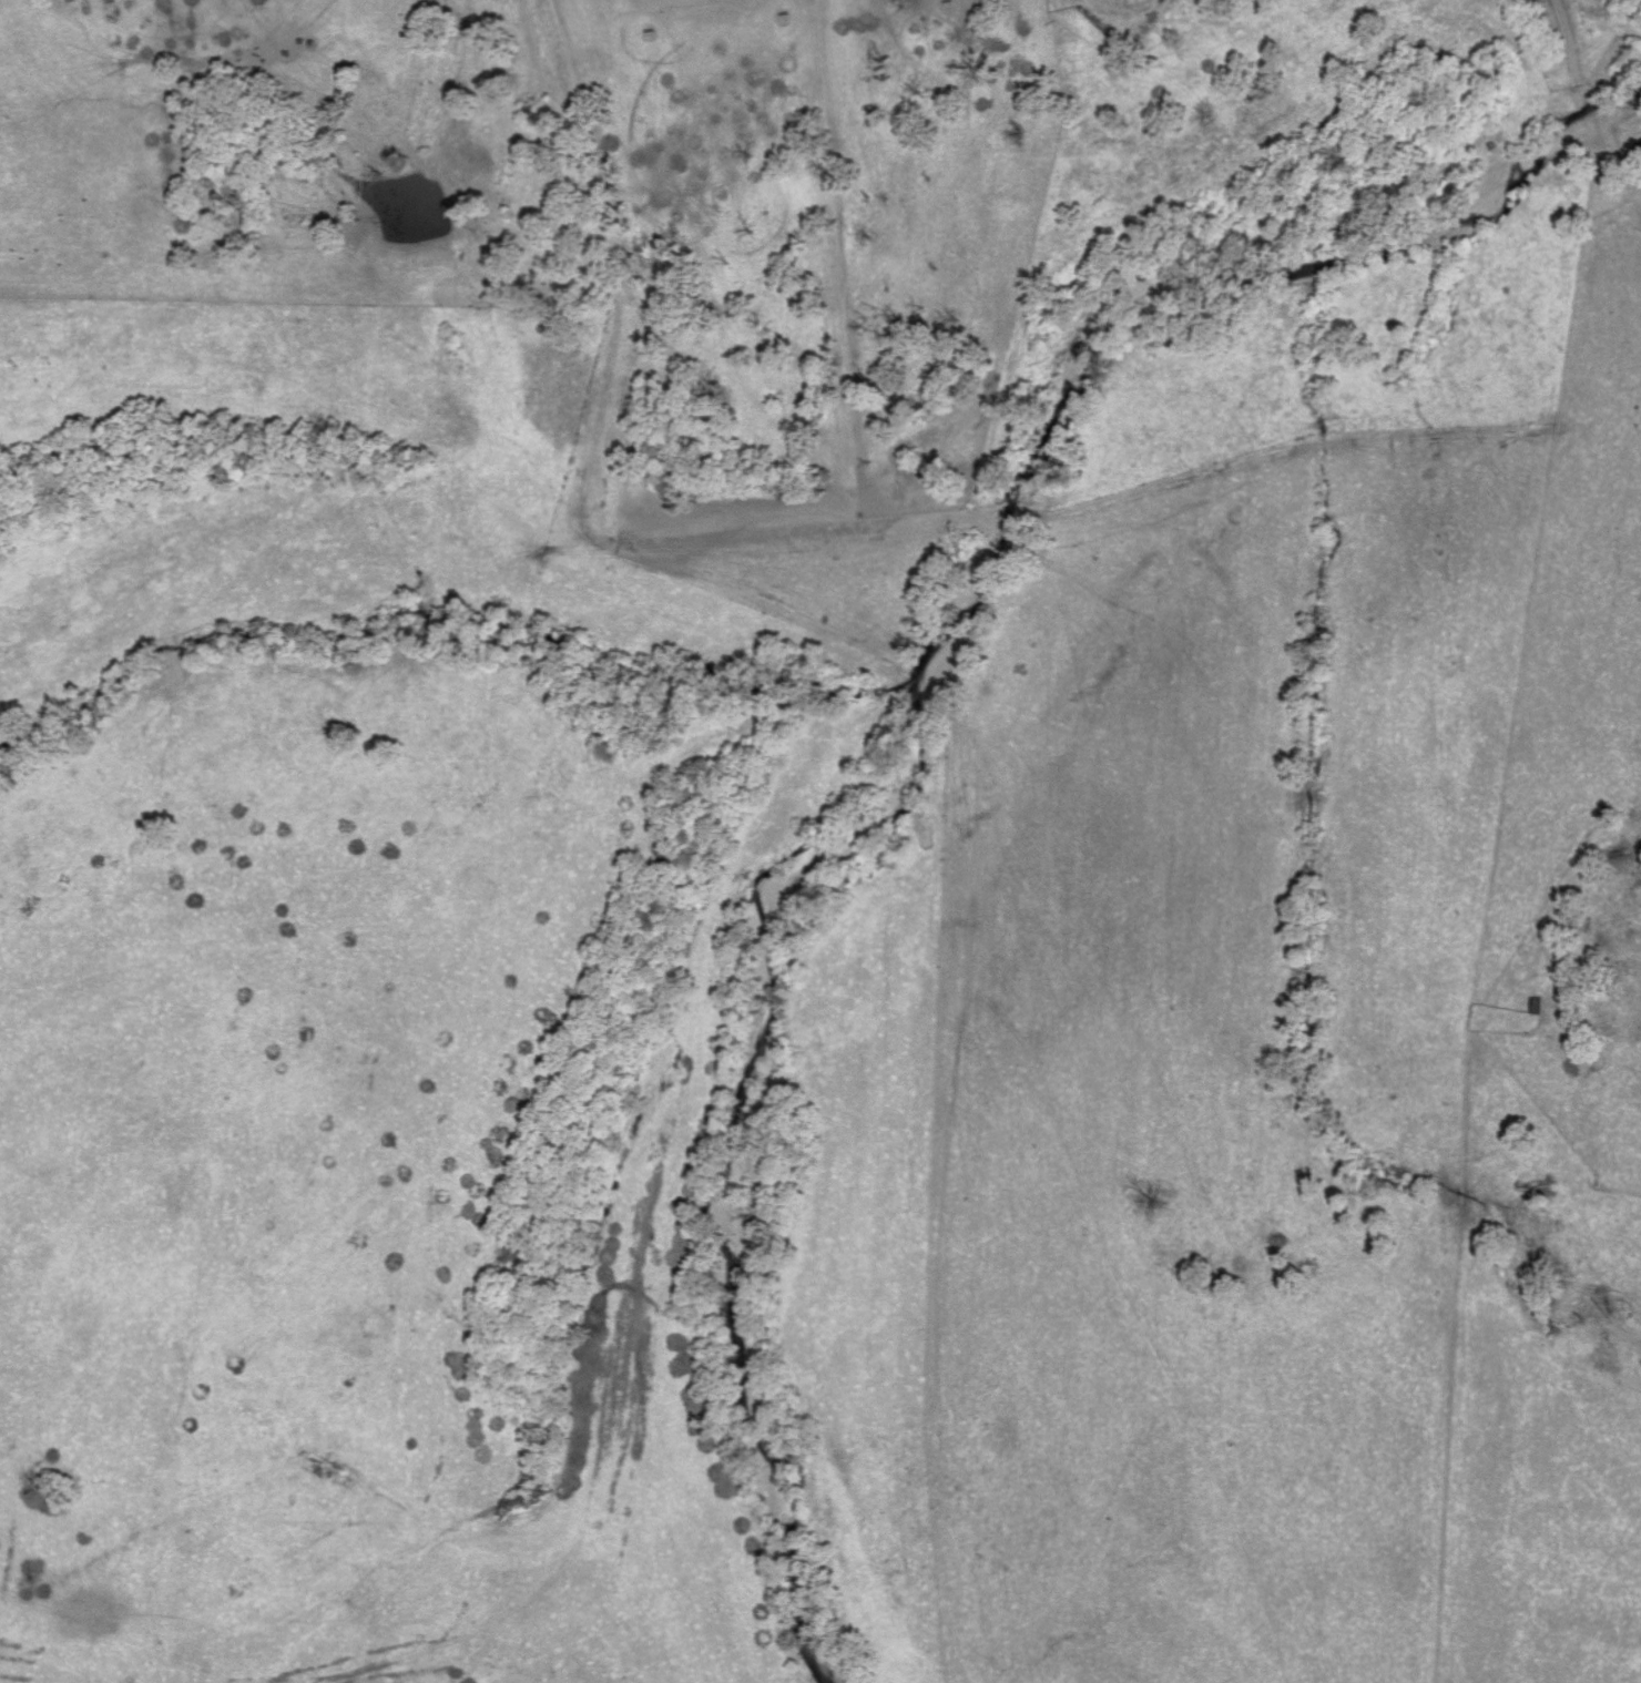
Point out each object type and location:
building: (1105, 0)

